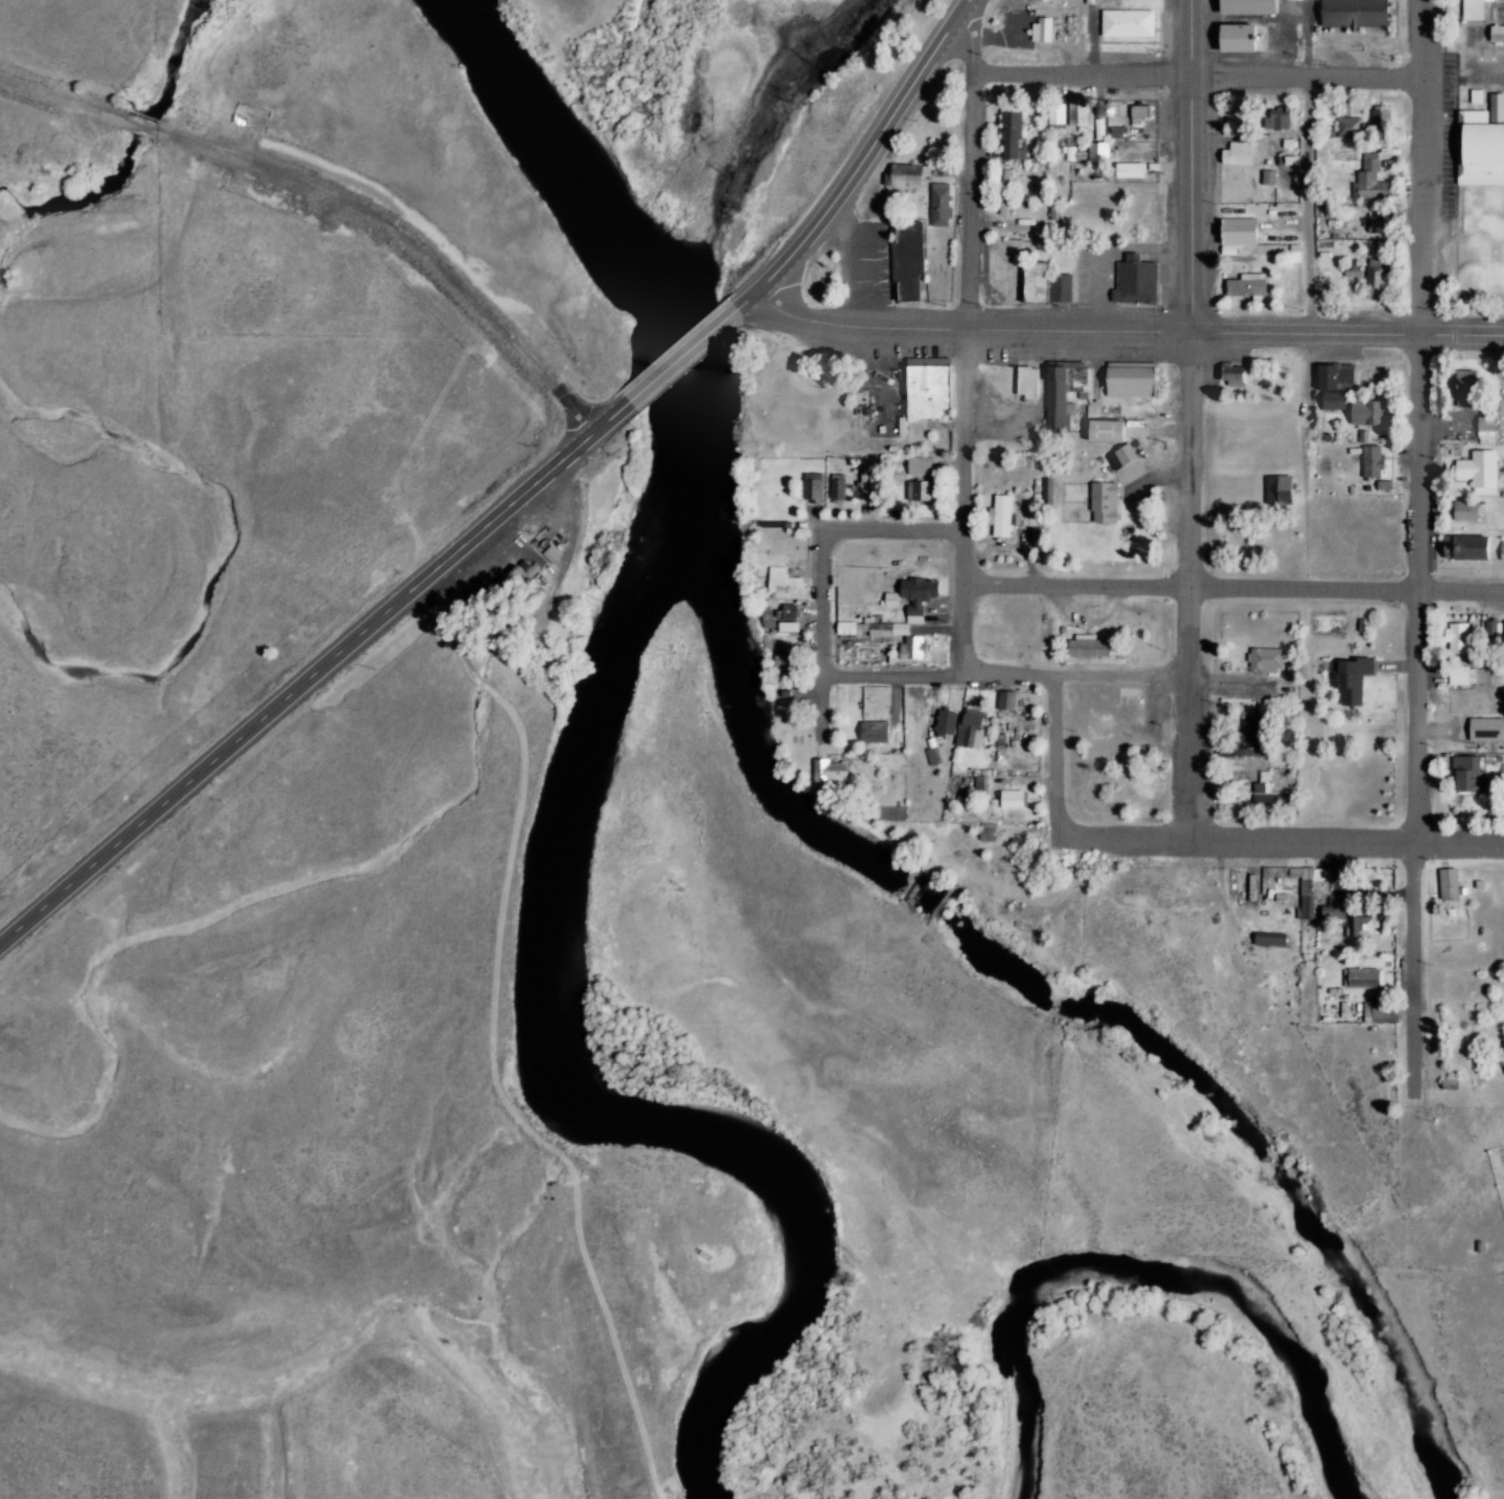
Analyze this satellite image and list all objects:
building: (1042, 1)
building: (1051, 1)
building: (1259, 7)
building: (1483, 10)
building: (1364, 13)
building: (1135, 23)
building: (1050, 30)
building: (1039, 31)
building: (1502, 33)
building: (1248, 38)
road: (1468, 77)
road: (1207, 79)
building: (1488, 97)
building: (1503, 107)
building: (1136, 112)
water tower: (1126, 113)
building: (1148, 113)
building: (1054, 114)
building: (1065, 114)
building: (1379, 116)
building: (1088, 117)
building: (1391, 118)
building: (1284, 119)
building: (1358, 126)
building: (1108, 129)
building: (1097, 130)
building: (1338, 130)
building: (1128, 132)
building: (1116, 133)
building: (1019, 135)
building: (1009, 137)
building: (1297, 143)
building: (1485, 149)
building: (1110, 151)
building: (1096, 152)
building: (1246, 153)
building: (1079, 154)
building: (1300, 160)
road: (865, 162)
building: (1161, 167)
building: (1136, 170)
building: (1277, 175)
building: (1380, 175)
building: (916, 176)
building: (1161, 177)
building: (1266, 178)
building: (1369, 181)
building: (1014, 192)
road: (332, 198)
building: (948, 203)
building: (938, 205)
building: (1390, 222)
building: (1246, 231)
building: (917, 262)
parking lot: (880, 267)
building: (1361, 270)
building: (1388, 276)
building: (1375, 277)
building: (1144, 281)
building: (1042, 282)
building: (1255, 286)
building: (1068, 287)
building: (1058, 289)
road: (1318, 293)
road: (1127, 334)
road: (971, 338)
road: (683, 358)
building: (1243, 376)
building: (1342, 376)
building: (1137, 379)
building: (1034, 381)
building: (1469, 385)
building: (935, 388)
building: (1070, 395)
building: (1330, 400)
building: (1342, 400)
building: (1372, 412)
road: (1198, 421)
building: (1496, 424)
building: (1483, 427)
building: (1109, 430)
building: (1365, 450)
building: (1131, 455)
building: (1119, 456)
building: (1381, 460)
building: (927, 467)
building: (1487, 471)
road: (1167, 476)
building: (875, 479)
building: (810, 485)
building: (848, 486)
building: (1394, 486)
building: (822, 487)
building: (835, 488)
building: (1289, 489)
building: (928, 490)
building: (1056, 490)
building: (1275, 490)
building: (1043, 493)
building: (1113, 501)
building: (1476, 508)
building: (1007, 514)
road: (901, 529)
road: (1426, 544)
building: (1477, 547)
building: (1501, 550)
building: (549, 554)
building: (562, 554)
building: (521, 572)
building: (794, 581)
building: (518, 583)
road: (1235, 584)
building: (926, 593)
building: (900, 600)
road: (834, 604)
building: (787, 612)
building: (798, 612)
building: (1489, 626)
building: (785, 627)
building: (505, 628)
building: (857, 628)
building: (890, 630)
building: (1455, 637)
building: (1465, 637)
building: (1097, 644)
building: (921, 647)
building: (1274, 659)
building: (779, 664)
building: (797, 666)
building: (1305, 667)
road: (902, 674)
building: (1467, 674)
road: (1082, 675)
road: (312, 677)
building: (1362, 679)
building: (1004, 700)
building: (1017, 700)
road: (835, 706)
building: (943, 722)
building: (955, 722)
building: (1492, 727)
building: (979, 731)
building: (870, 732)
building: (885, 732)
building: (1253, 737)
road: (1066, 745)
building: (931, 755)
building: (840, 771)
building: (1481, 771)
building: (1272, 783)
building: (979, 785)
building: (992, 786)
river: (595, 797)
building: (1022, 798)
building: (1283, 800)
road: (1281, 843)
building: (1459, 883)
building: (1446, 884)
building: (1264, 887)
building: (1303, 888)
building: (1293, 896)
building: (1317, 900)
building: (1330, 911)
building: (1365, 922)
building: (1282, 936)
building: (1266, 939)
building: (1375, 978)
building: (1392, 1011)
road: (506, 1043)
building: (1458, 1084)
building: (1493, 1246)
river: (1166, 1298)
road: (807, 1440)
road: (766, 1498)

